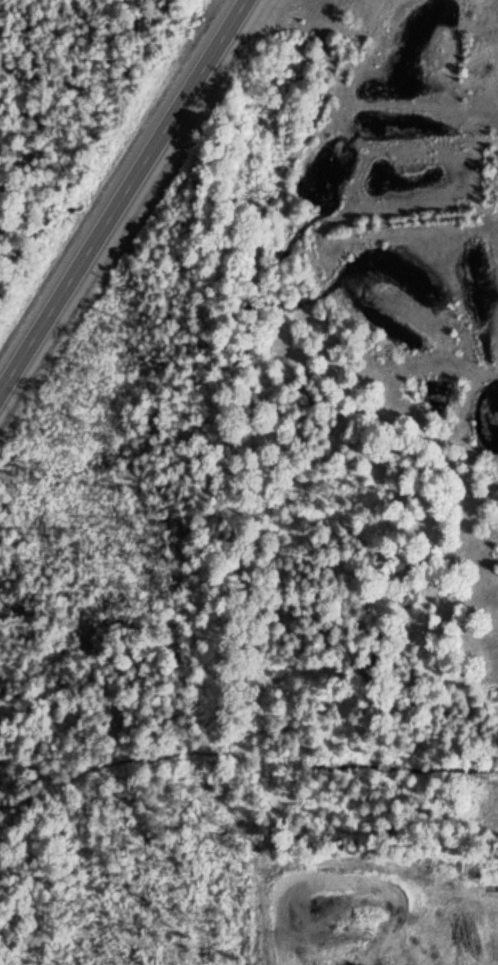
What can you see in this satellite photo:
road: (126, 202)

